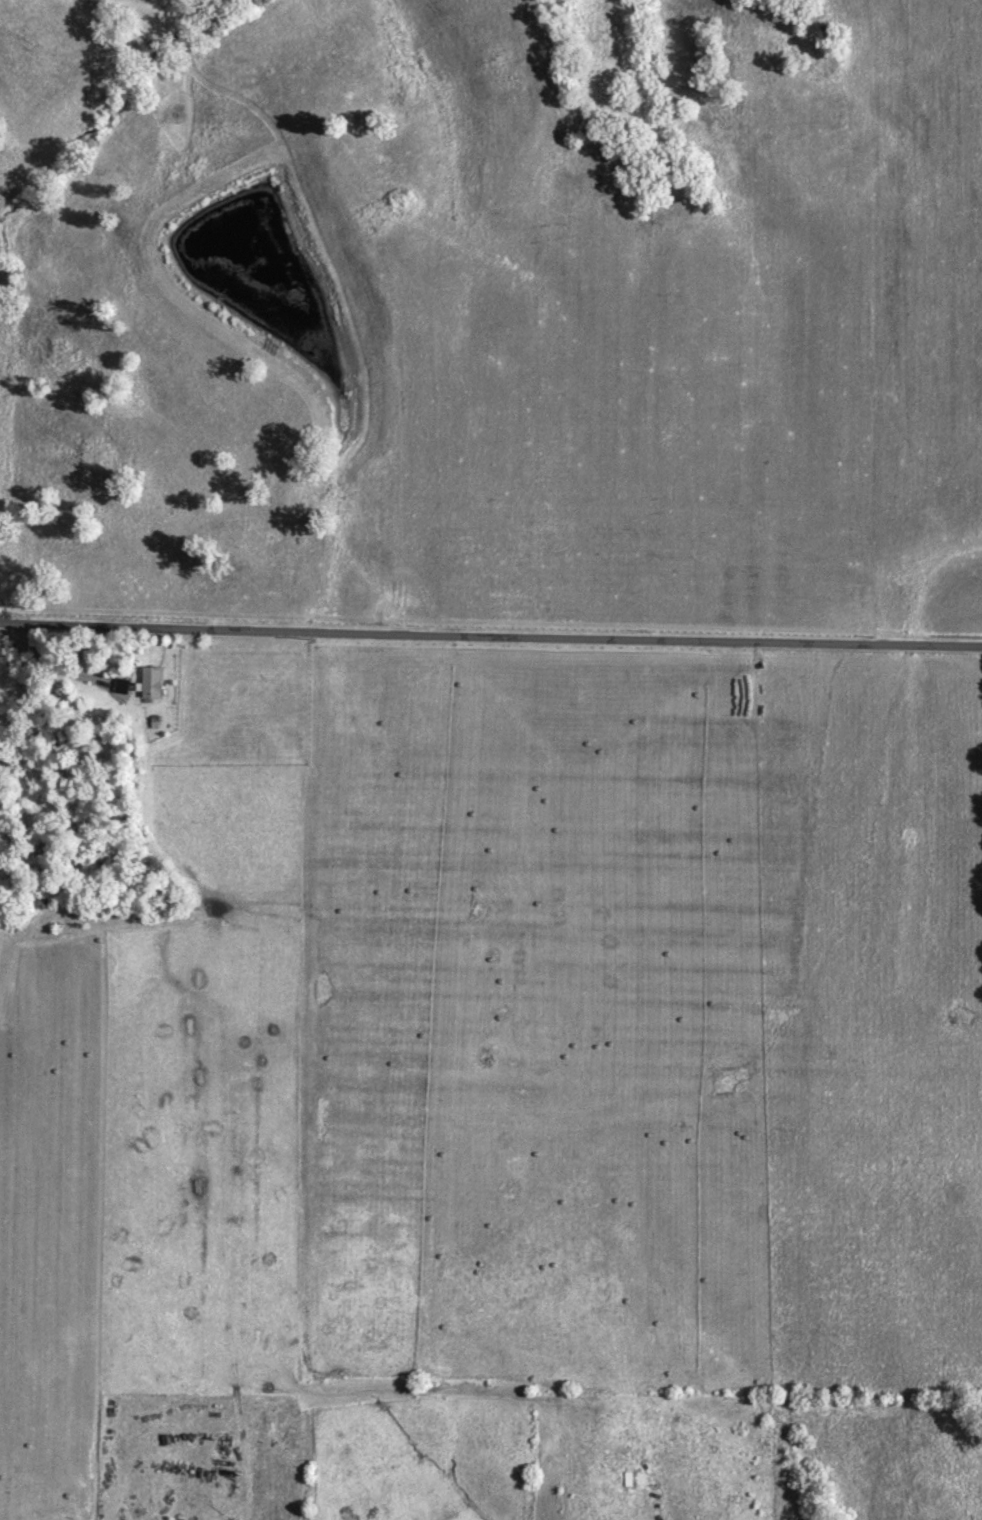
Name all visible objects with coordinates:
road: (490, 634)
building: (149, 686)
building: (118, 690)

